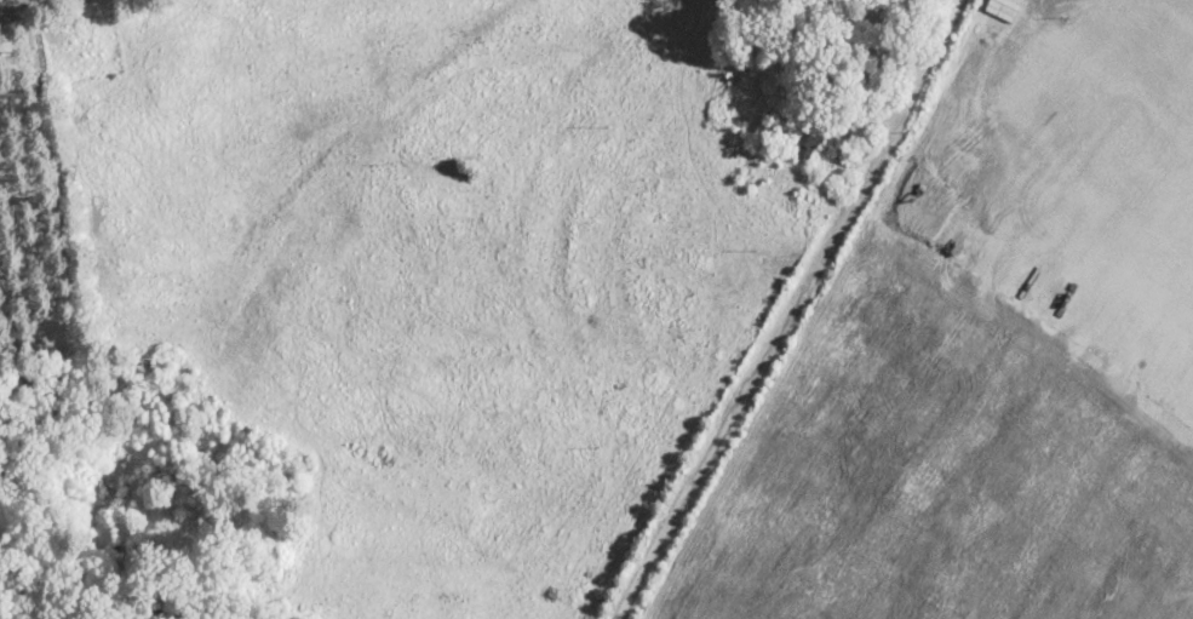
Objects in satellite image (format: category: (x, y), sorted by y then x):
road: (22, 4)
park: (905, 13)
building: (826, 93)
building: (768, 128)
building: (809, 138)
building: (472, 172)
road: (843, 220)
road: (667, 528)

